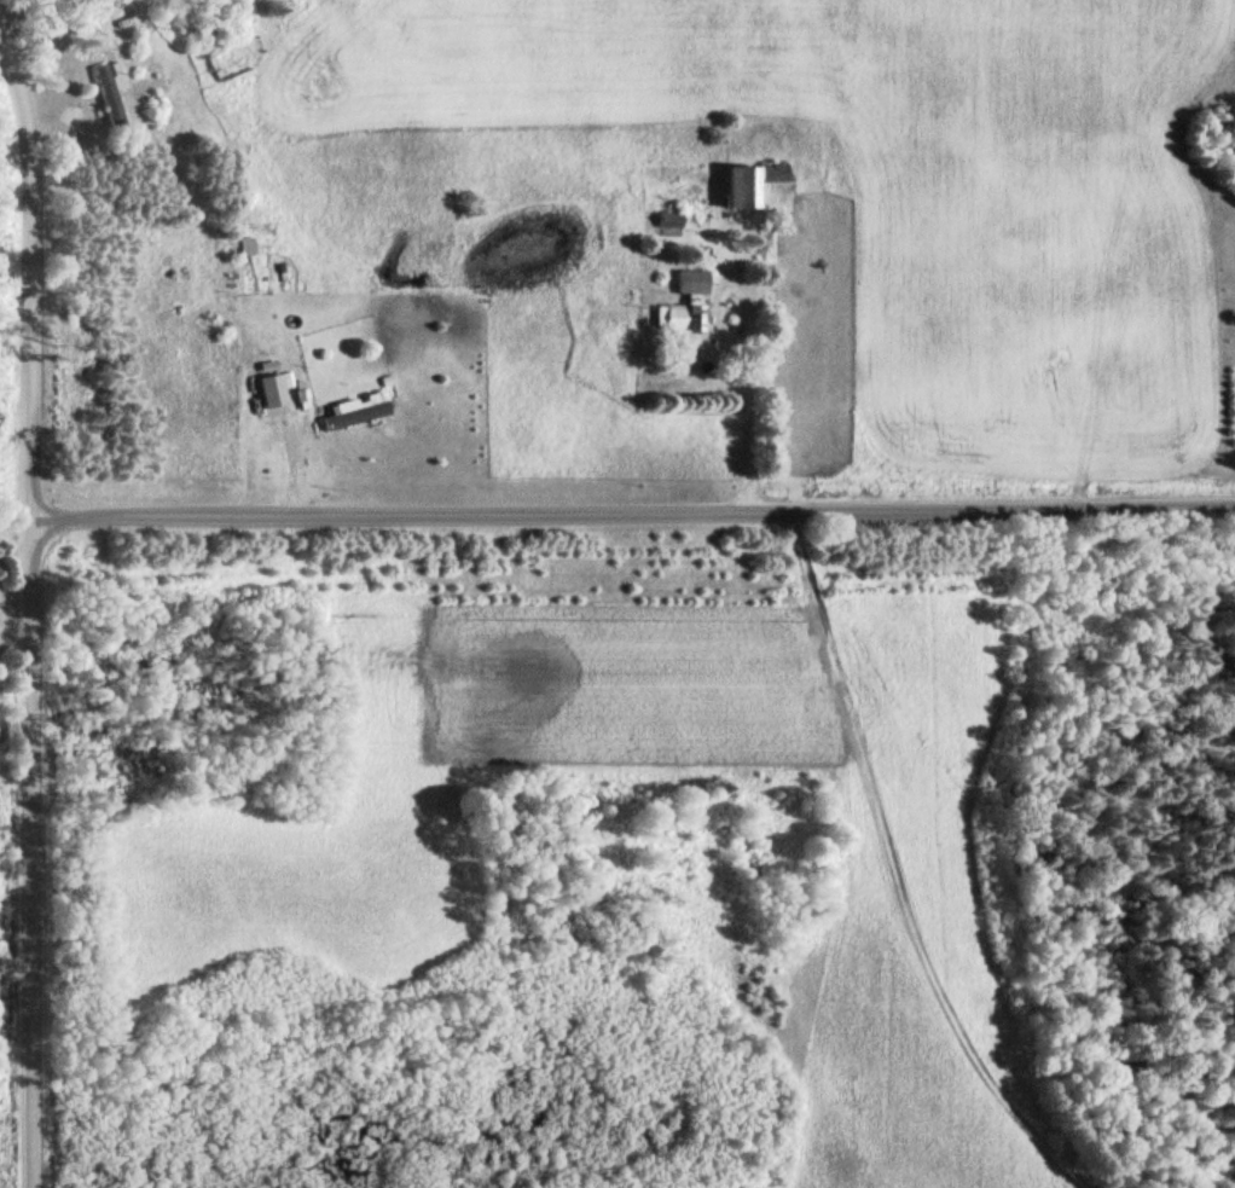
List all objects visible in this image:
building: (111, 6)
building: (115, 92)
building: (760, 187)
road: (35, 257)
building: (694, 280)
building: (683, 317)
building: (278, 388)
building: (360, 411)
building: (184, 445)
building: (250, 456)
road: (633, 509)
road: (34, 852)

